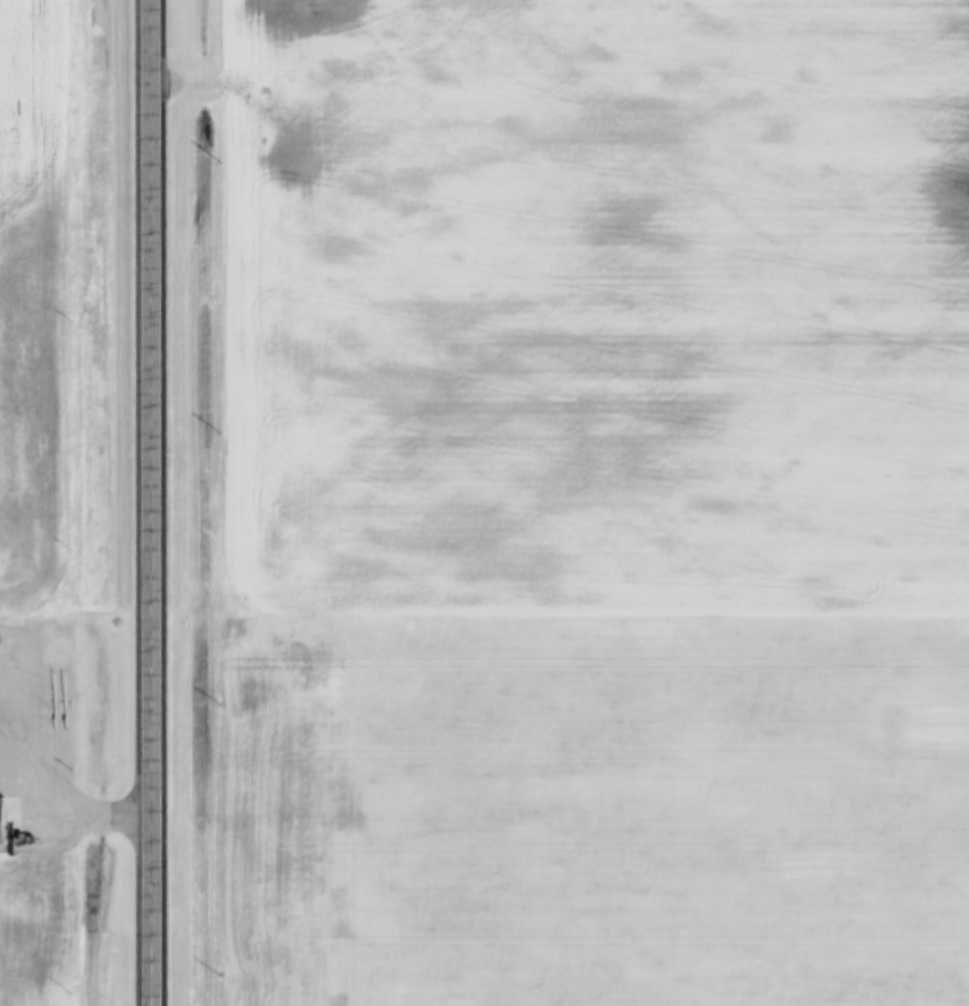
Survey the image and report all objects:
road: (149, 502)
building: (0, 642)
silo: (0, 642)
road: (84, 815)
building: (2, 821)

